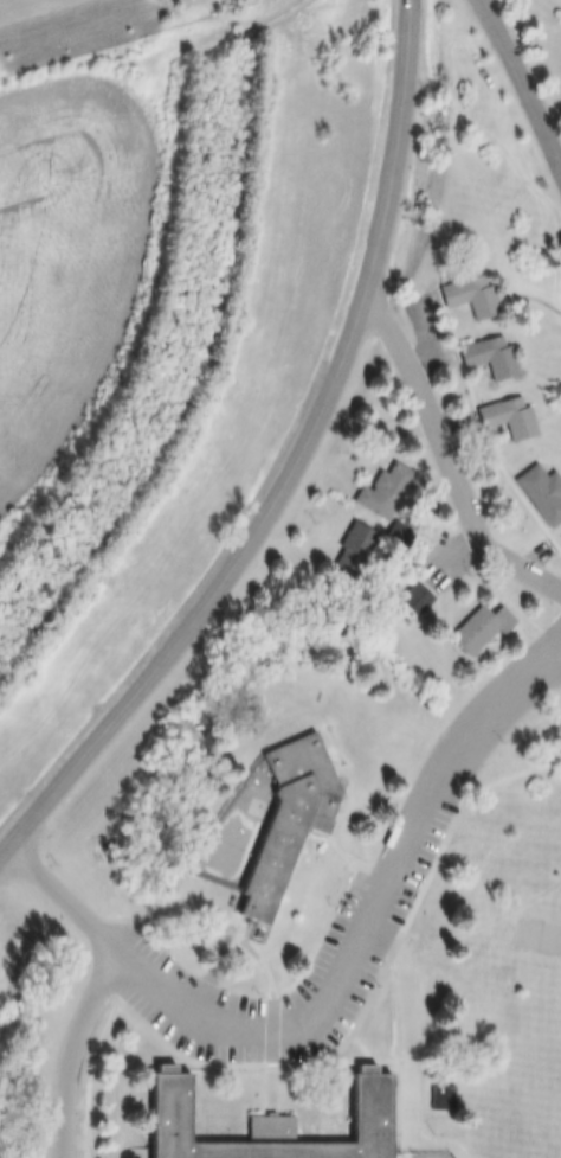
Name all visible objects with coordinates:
road: (521, 85)
building: (463, 295)
building: (484, 357)
building: (503, 420)
road: (446, 463)
road: (292, 467)
building: (379, 493)
building: (540, 497)
building: (348, 552)
building: (411, 599)
building: (475, 629)
building: (280, 819)
road: (62, 901)
park: (536, 939)
road: (320, 1009)
building: (439, 1099)
building: (257, 1124)
park: (530, 1132)

